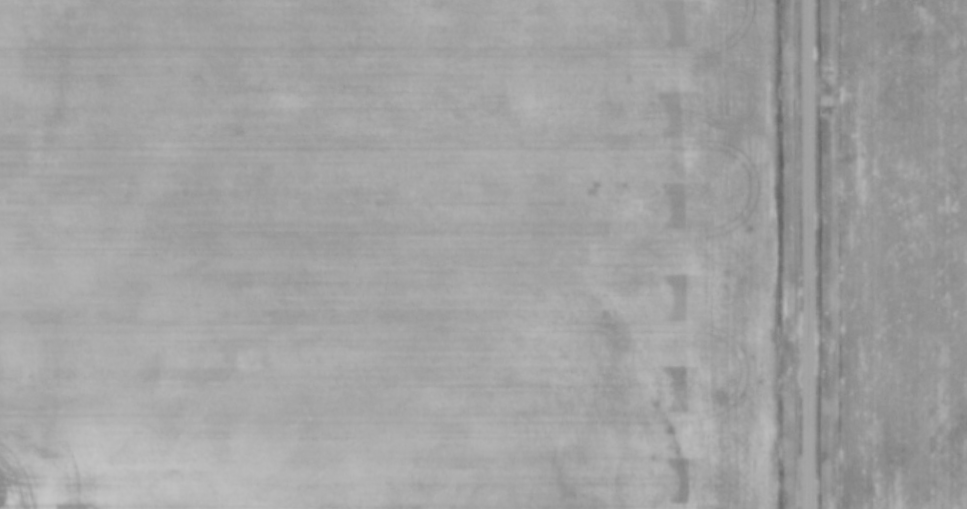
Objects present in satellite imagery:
road: (807, 254)

